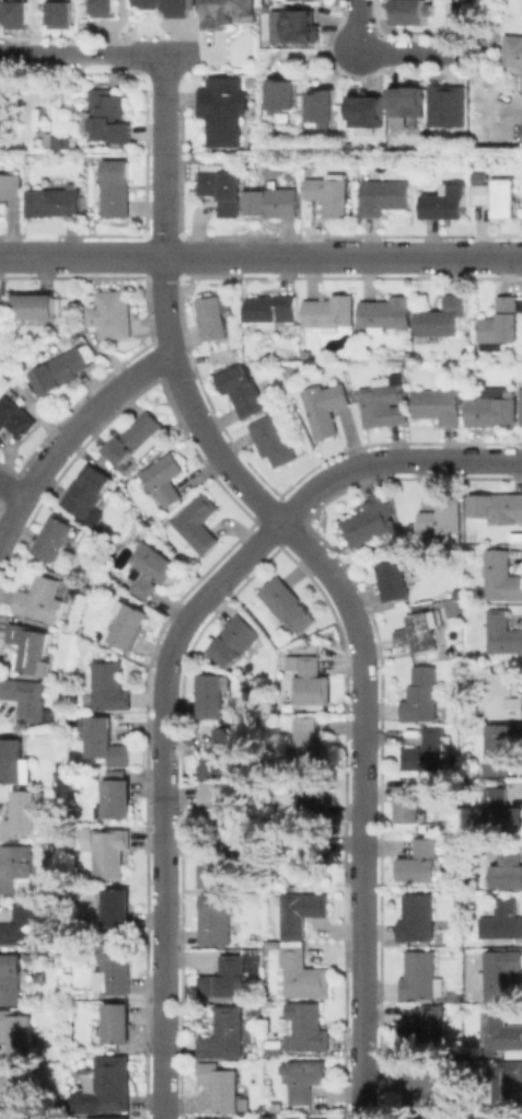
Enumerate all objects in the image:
building: (172, 4)
building: (102, 8)
building: (411, 11)
building: (61, 12)
building: (18, 13)
building: (228, 13)
road: (357, 25)
road: (457, 25)
building: (303, 28)
road: (408, 51)
building: (512, 51)
road: (98, 53)
building: (281, 91)
building: (428, 104)
building: (324, 105)
building: (368, 113)
building: (222, 114)
building: (109, 116)
building: (521, 134)
building: (57, 140)
building: (479, 176)
building: (11, 186)
building: (116, 187)
building: (223, 187)
building: (330, 192)
building: (498, 195)
building: (385, 196)
building: (54, 201)
building: (272, 201)
building: (448, 201)
road: (260, 256)
road: (165, 304)
building: (35, 305)
building: (272, 309)
building: (330, 311)
building: (114, 313)
building: (386, 313)
building: (217, 315)
building: (442, 319)
building: (3, 322)
building: (501, 323)
building: (466, 353)
building: (413, 366)
building: (65, 368)
building: (244, 391)
building: (384, 401)
building: (439, 405)
building: (520, 405)
building: (326, 406)
building: (490, 408)
building: (15, 416)
road: (70, 434)
building: (136, 438)
building: (275, 439)
road: (391, 462)
building: (165, 478)
road: (11, 489)
building: (89, 491)
building: (498, 506)
building: (444, 516)
building: (371, 521)
building: (197, 523)
building: (58, 538)
building: (152, 569)
building: (501, 576)
building: (396, 580)
building: (46, 597)
building: (288, 605)
building: (130, 624)
building: (501, 633)
building: (417, 634)
building: (236, 639)
building: (32, 649)
building: (420, 656)
building: (313, 683)
building: (109, 687)
building: (503, 693)
building: (214, 694)
building: (422, 694)
building: (26, 697)
building: (310, 739)
building: (106, 741)
building: (501, 748)
building: (428, 751)
building: (224, 753)
building: (14, 761)
building: (317, 797)
building: (117, 798)
road: (164, 799)
building: (414, 804)
building: (223, 806)
road: (367, 806)
building: (501, 811)
building: (22, 815)
building: (109, 850)
building: (311, 855)
building: (421, 862)
building: (15, 866)
building: (225, 867)
building: (509, 867)
building: (37, 895)
building: (118, 908)
building: (302, 911)
building: (419, 918)
building: (217, 919)
building: (503, 920)
building: (27, 924)
building: (274, 943)
building: (115, 969)
building: (302, 972)
building: (501, 974)
building: (421, 976)
building: (227, 977)
building: (11, 978)
building: (118, 1023)
building: (308, 1026)
building: (500, 1030)
building: (426, 1031)
building: (18, 1033)
building: (225, 1034)
building: (305, 1078)
building: (112, 1083)
building: (506, 1083)
building: (222, 1085)
building: (420, 1086)
building: (14, 1088)
building: (277, 1106)
building: (109, 1117)
building: (502, 1117)
building: (223, 1118)
building: (322, 1118)
building: (472, 1118)

